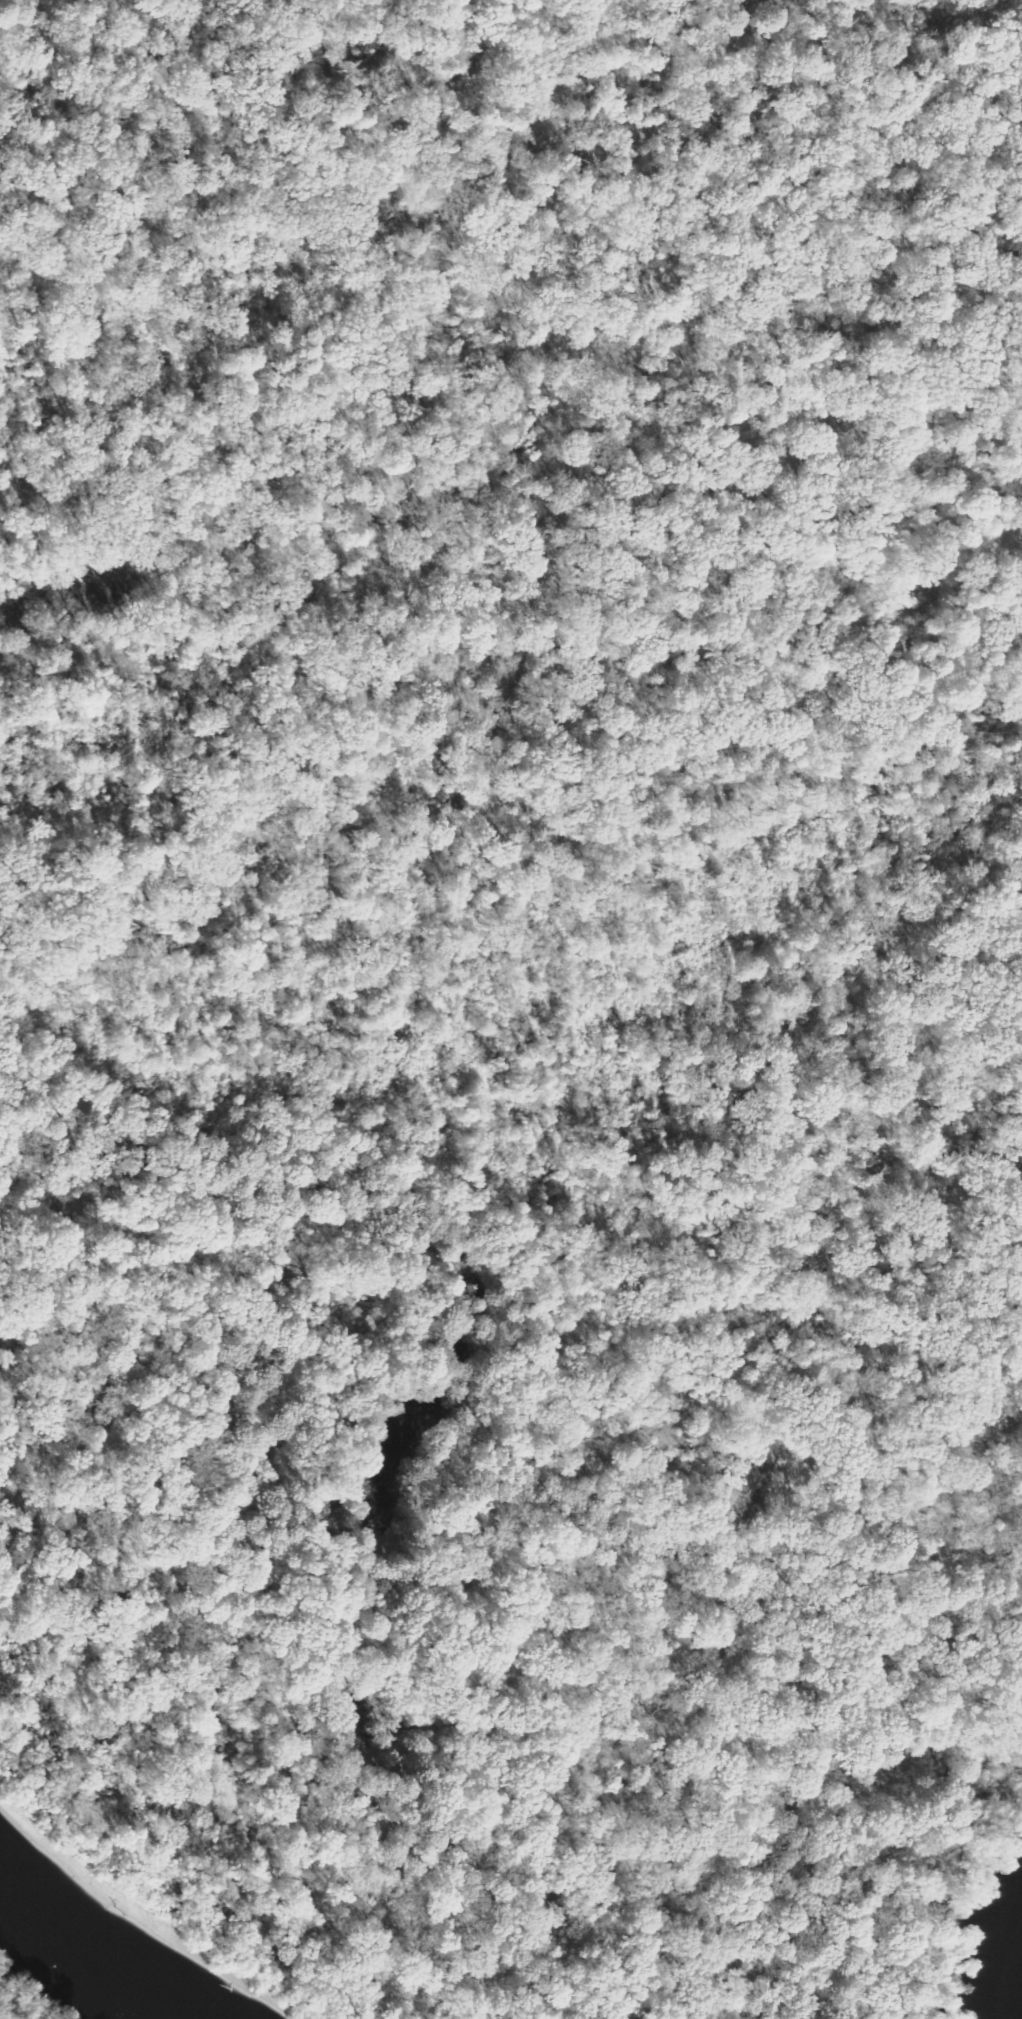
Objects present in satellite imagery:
river: (87, 1959)
river: (1014, 1981)

